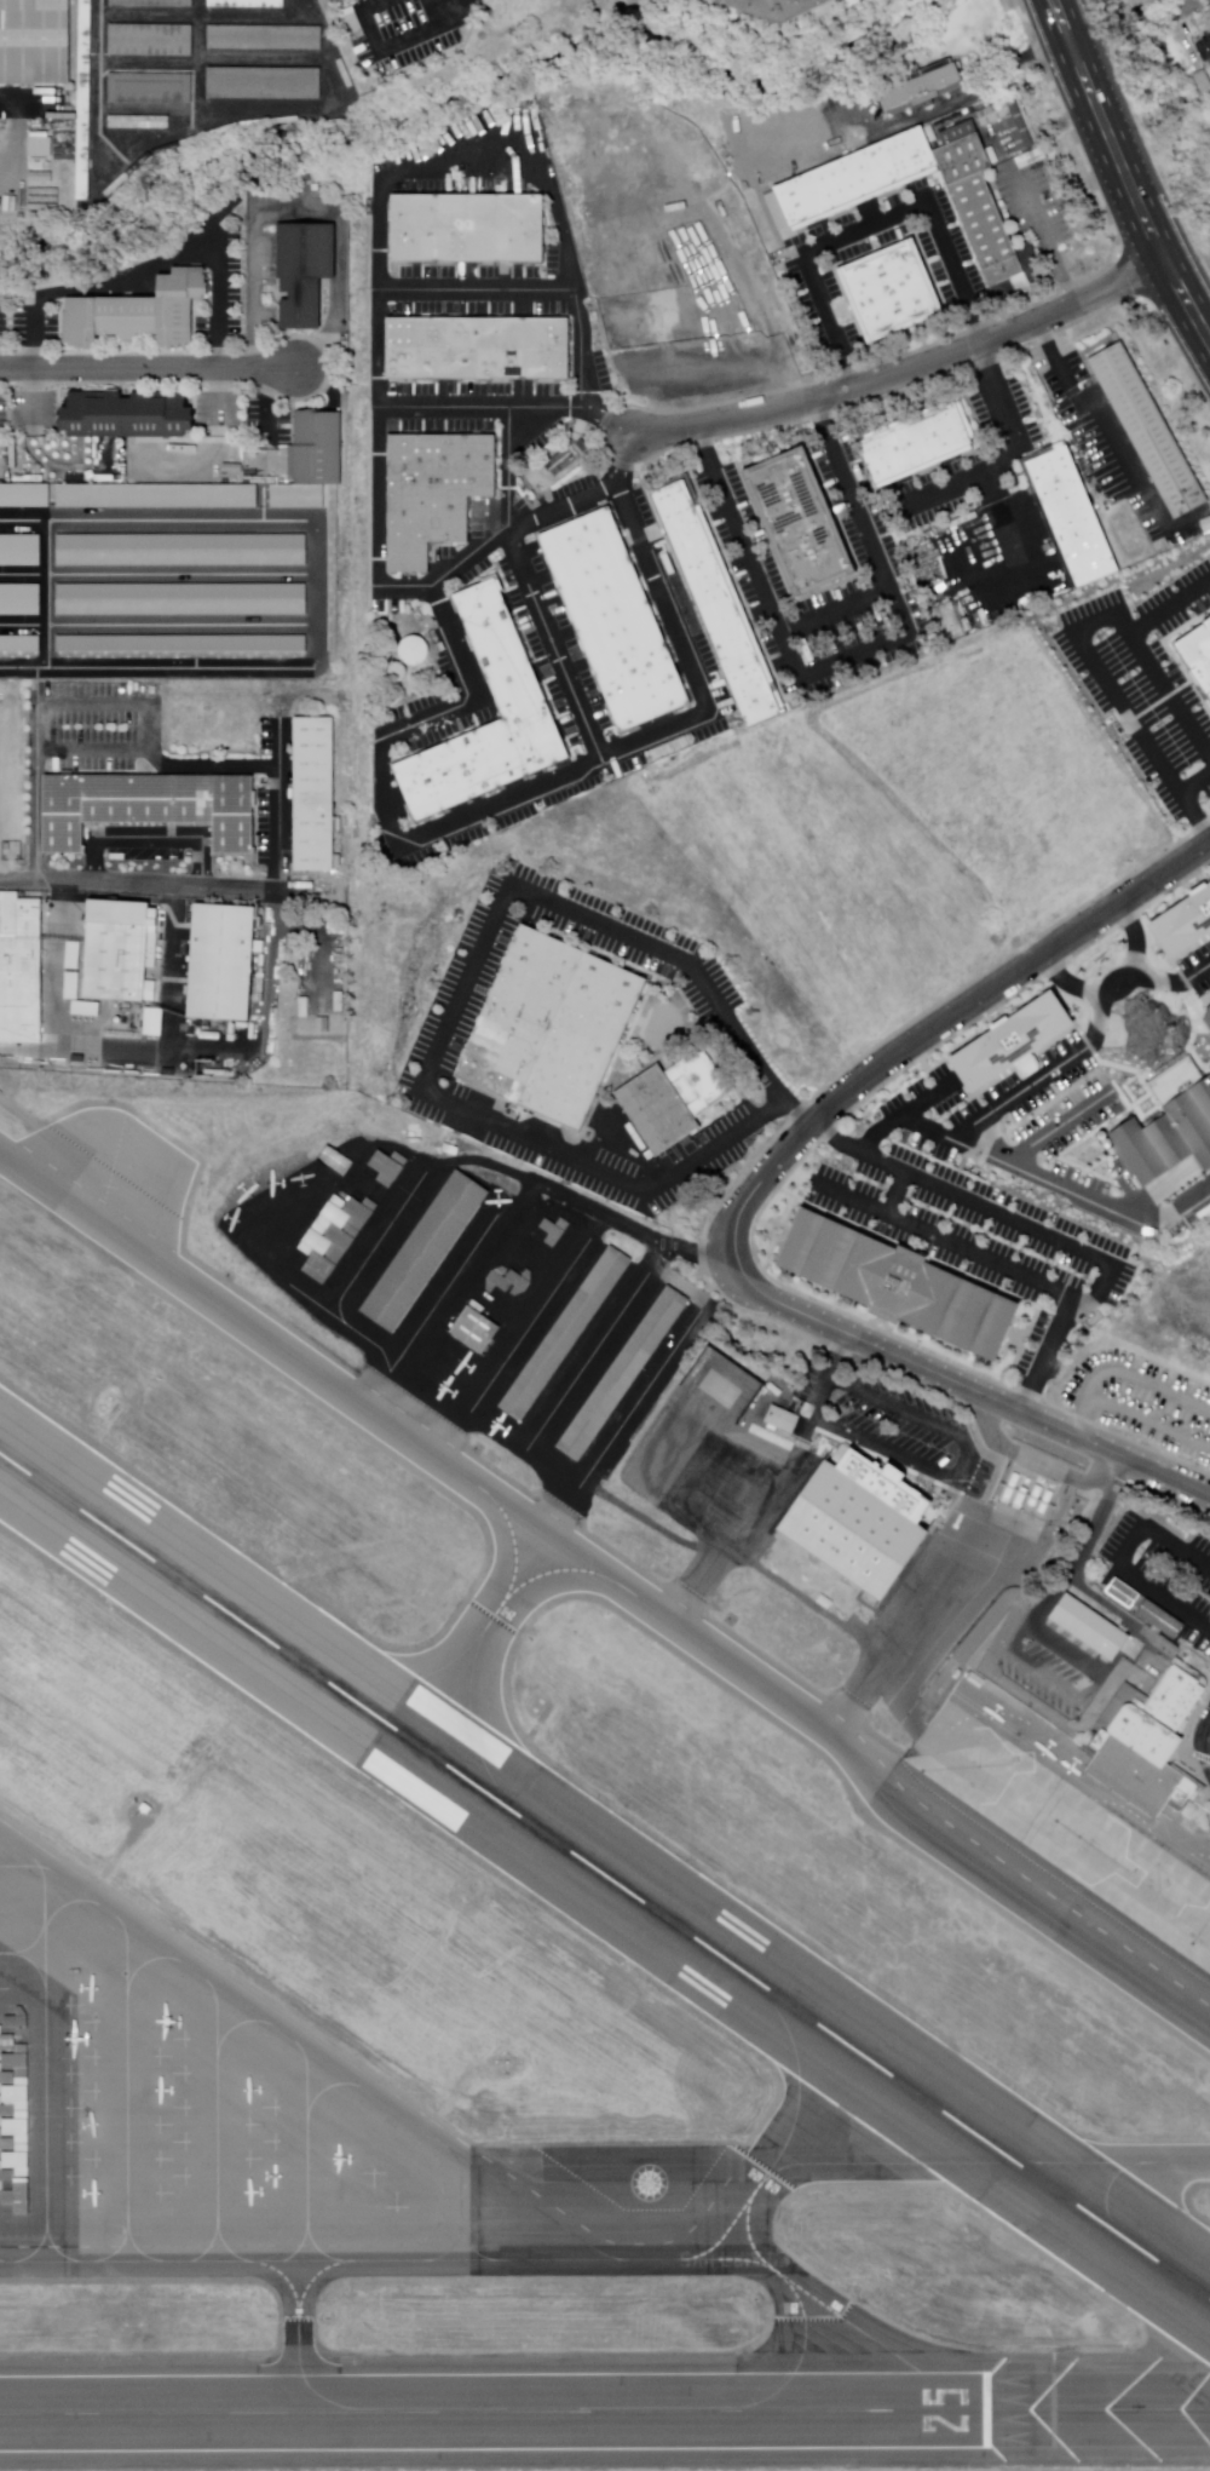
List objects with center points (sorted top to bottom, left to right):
building: (152, 2)
building: (248, 4)
building: (777, 6)
road: (1170, 12)
road: (1129, 30)
parking lot: (398, 33)
building: (265, 39)
building: (151, 41)
building: (34, 44)
road: (1094, 45)
building: (1204, 51)
building: (1203, 81)
building: (265, 84)
building: (920, 87)
building: (150, 91)
building: (83, 98)
building: (784, 127)
building: (1014, 130)
building: (966, 155)
building: (1028, 161)
road: (1127, 169)
building: (854, 172)
building: (90, 180)
building: (989, 226)
building: (469, 228)
road: (950, 262)
road: (143, 270)
building: (304, 272)
building: (892, 289)
road: (398, 298)
building: (137, 312)
building: (478, 347)
road: (148, 370)
road: (907, 373)
road: (333, 383)
building: (125, 415)
building: (1148, 431)
road: (1117, 439)
building: (916, 443)
building: (319, 444)
road: (506, 469)
building: (436, 490)
building: (25, 498)
building: (156, 498)
building: (1073, 513)
building: (799, 523)
road: (374, 525)
road: (1013, 536)
building: (19, 551)
building: (183, 551)
building: (181, 599)
building: (19, 600)
building: (716, 602)
road: (1169, 605)
road: (831, 611)
building: (615, 621)
building: (19, 644)
building: (181, 644)
road: (1082, 645)
road: (553, 648)
building: (415, 649)
building: (1198, 651)
road: (840, 659)
building: (397, 672)
building: (509, 672)
parking lot: (1143, 682)
building: (733, 725)
road: (1193, 781)
building: (315, 792)
building: (148, 804)
road: (442, 838)
road: (143, 885)
building: (1185, 926)
building: (116, 946)
building: (223, 959)
building: (21, 966)
road: (1028, 969)
parking lot: (1197, 970)
road: (1116, 984)
road: (1171, 984)
road: (463, 989)
building: (1209, 1011)
building: (552, 1029)
building: (1008, 1042)
parking lot: (419, 1052)
road: (1039, 1078)
building: (673, 1102)
road: (901, 1114)
road: (18, 1116)
road: (1048, 1132)
building: (1170, 1136)
airport apron: (117, 1166)
airport hangar: (370, 1174)
building: (370, 1174)
road: (1022, 1174)
parking lot: (978, 1191)
road: (892, 1196)
road: (575, 1205)
road: (1179, 1207)
airport hangar: (554, 1230)
building: (554, 1230)
airport hangar: (330, 1237)
building: (330, 1237)
airport hangar: (422, 1252)
building: (422, 1252)
airport hangar: (518, 1264)
building: (518, 1264)
road: (1106, 1272)
building: (893, 1286)
airport apron: (471, 1301)
airport hangar: (472, 1329)
building: (472, 1329)
airport hangar: (566, 1334)
building: (566, 1334)
road: (866, 1344)
road: (1038, 1355)
airport hangar: (624, 1374)
building: (624, 1374)
building: (744, 1400)
building: (783, 1416)
airport apron: (713, 1476)
building: (1024, 1486)
storage tank: (1024, 1486)
building: (851, 1525)
airport taxiway: (513, 1545)
road: (1119, 1556)
airport taxiway: (557, 1569)
parking lot: (1160, 1571)
airport taxiway: (615, 1580)
building: (1143, 1607)
airport apron: (916, 1614)
airport taxiway: (491, 1615)
building: (1090, 1626)
airport taxiway: (411, 1677)
airport taxiway: (469, 1728)
airport terminal: (1148, 1747)
building: (1148, 1747)
road: (1204, 1752)
airport apron: (1067, 1816)
airport: (565, 1844)
airport runway: (605, 1875)
airport taxiway: (288, 2039)
airport taxiway: (795, 2084)
airport apron: (172, 2107)
airport hangar: (11, 2111)
building: (11, 2111)
airport taxiway: (987, 2160)
airport apron: (620, 2180)
airport taxiway: (459, 2205)
airport taxiway: (721, 2239)
airport taxiway: (748, 2242)
airport taxiway: (599, 2254)
airport taxiway: (335, 2260)
airport taxiway: (724, 2260)
airport taxiway: (277, 2276)
airport taxiway: (872, 2337)
airport taxiway: (295, 2340)
airport taxiway: (797, 2355)
airport taxiway: (286, 2391)
airport runway: (491, 2409)

